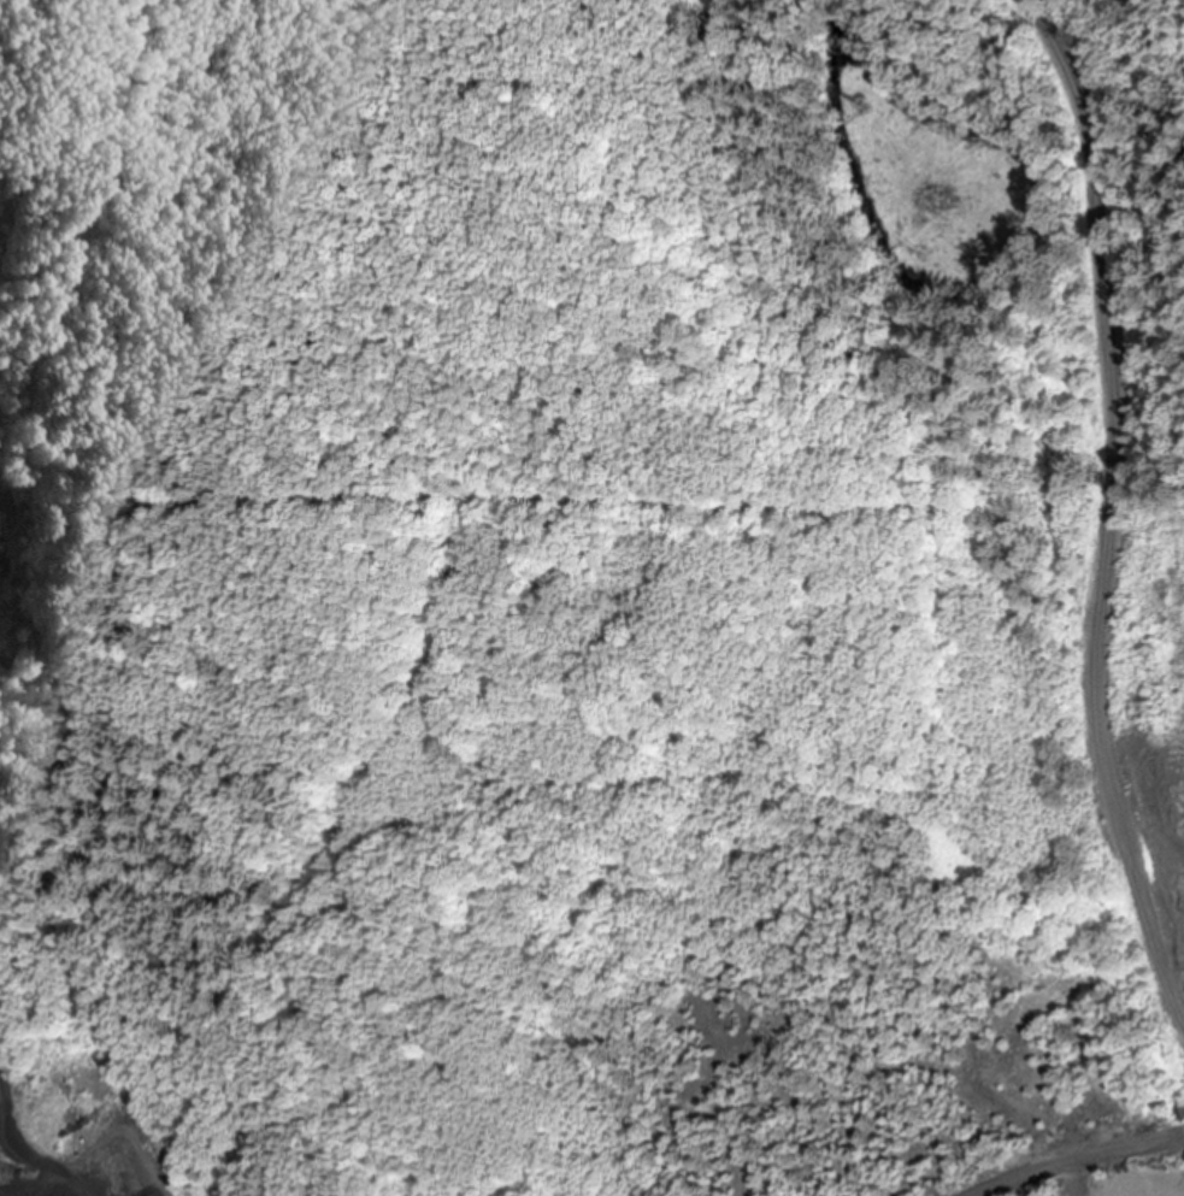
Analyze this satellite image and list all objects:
quarry: (13, 487)
road: (1106, 505)
quarry: (591, 597)
quarry: (77, 1125)
quarry: (1137, 1138)
road: (1071, 1155)

